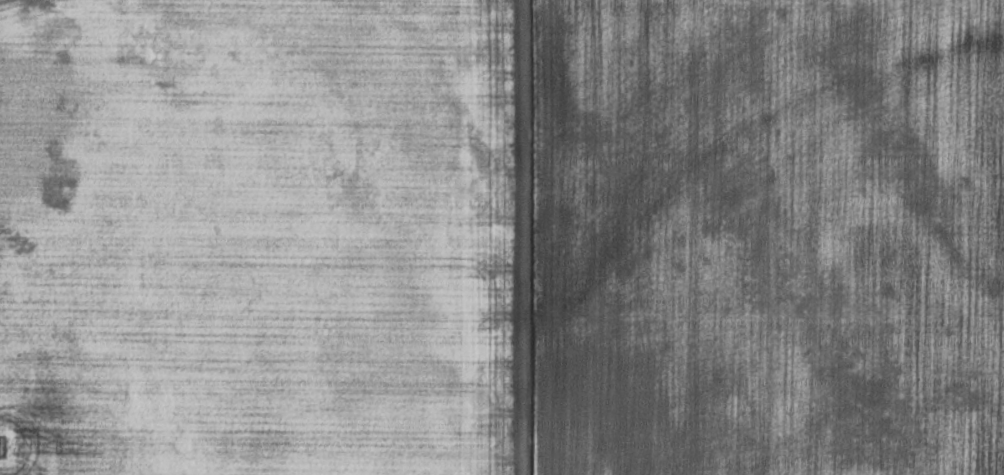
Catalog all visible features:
road: (520, 237)

